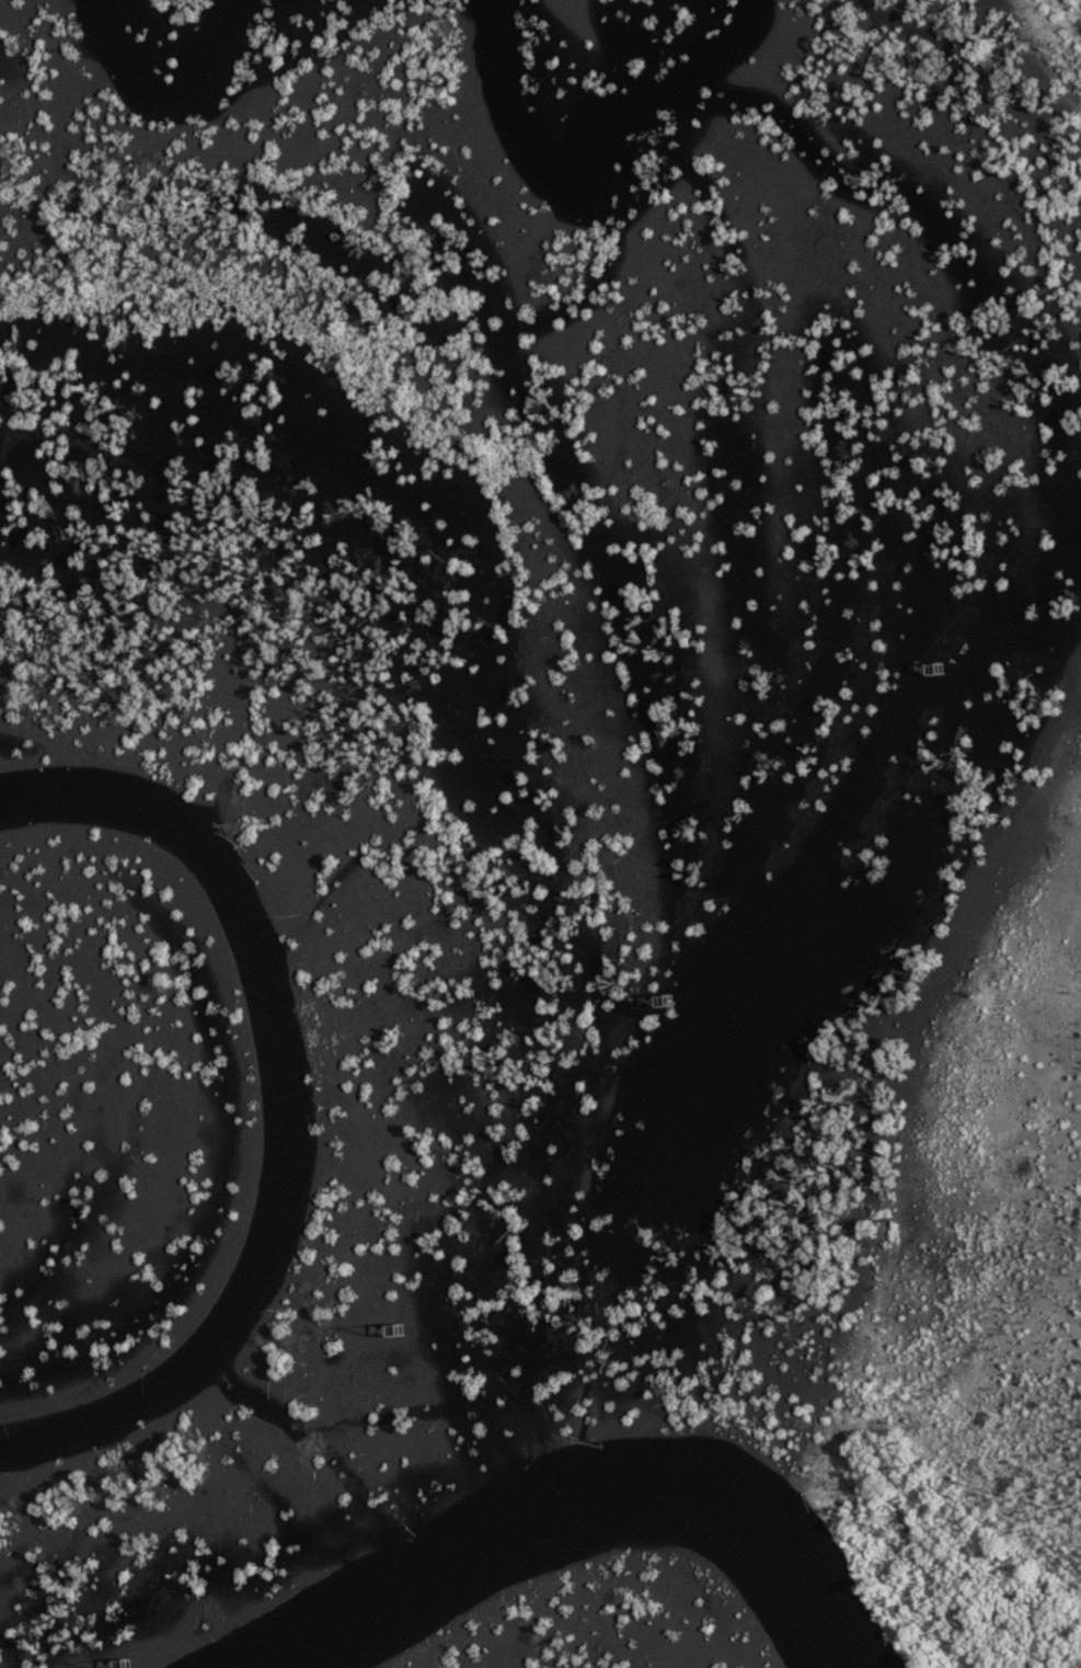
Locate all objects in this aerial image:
river: (577, 1504)

